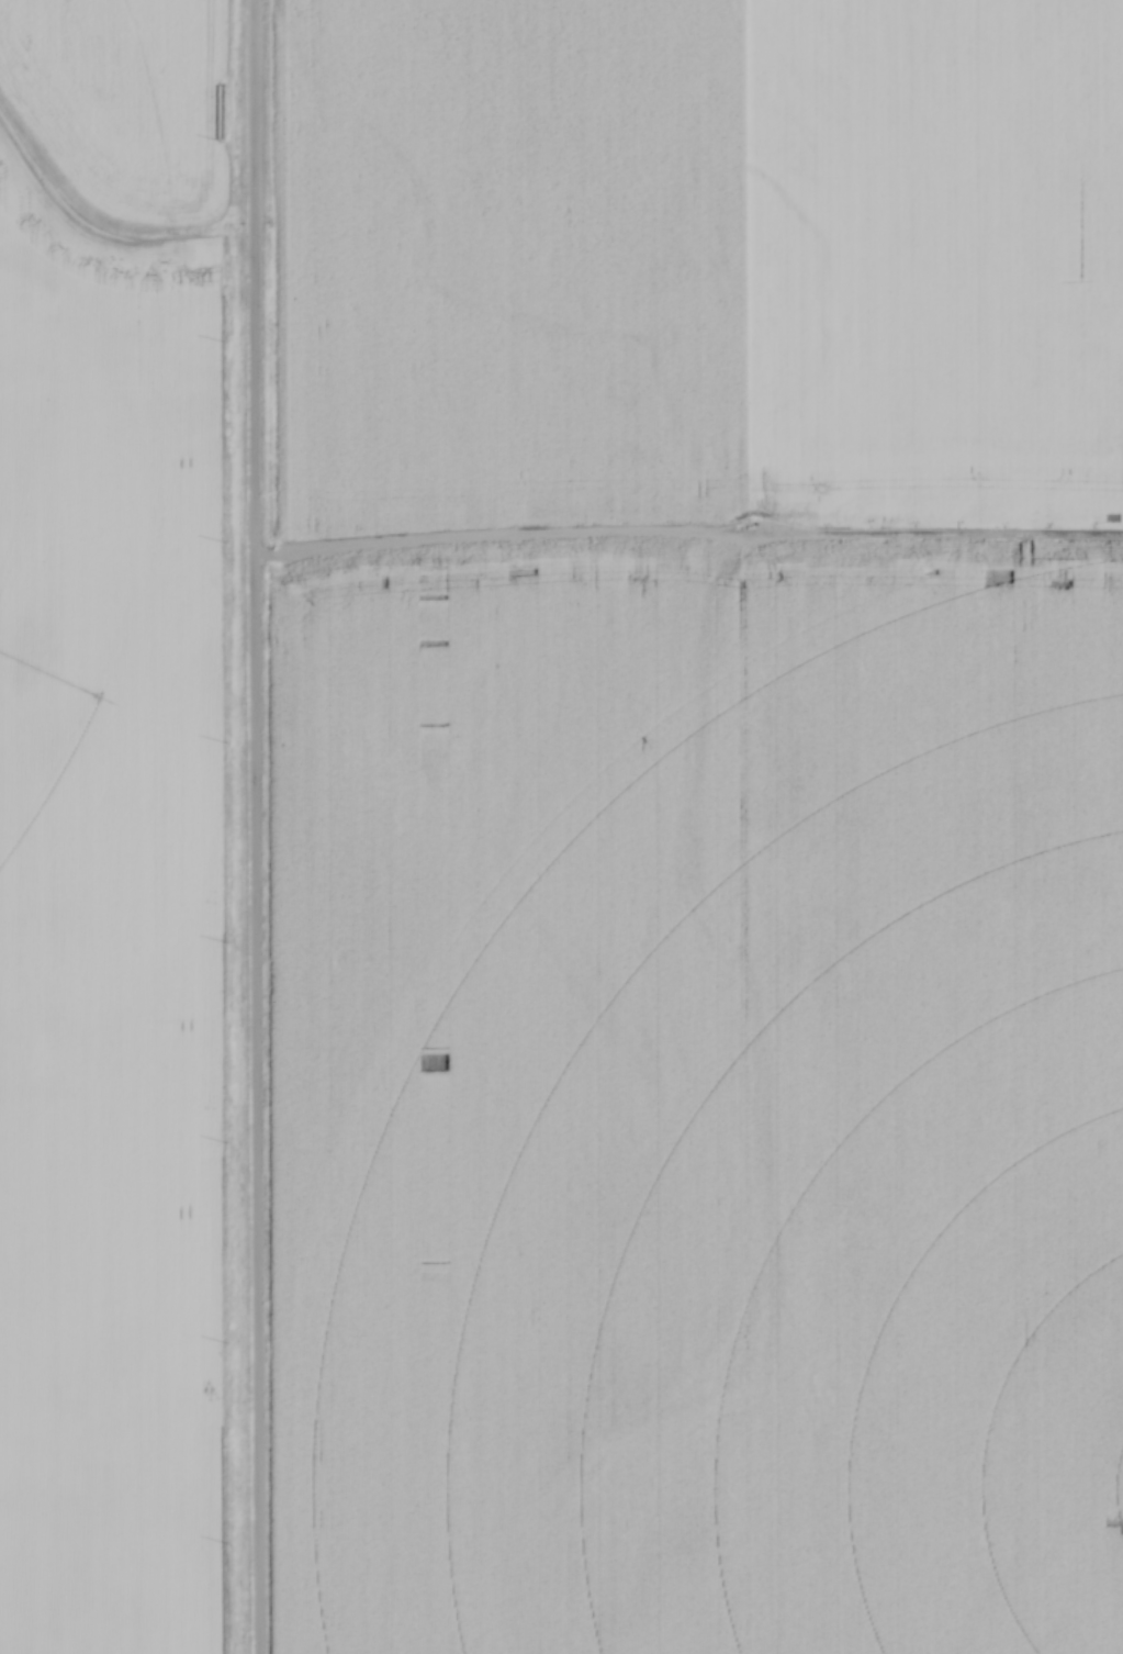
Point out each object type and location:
road: (251, 827)

